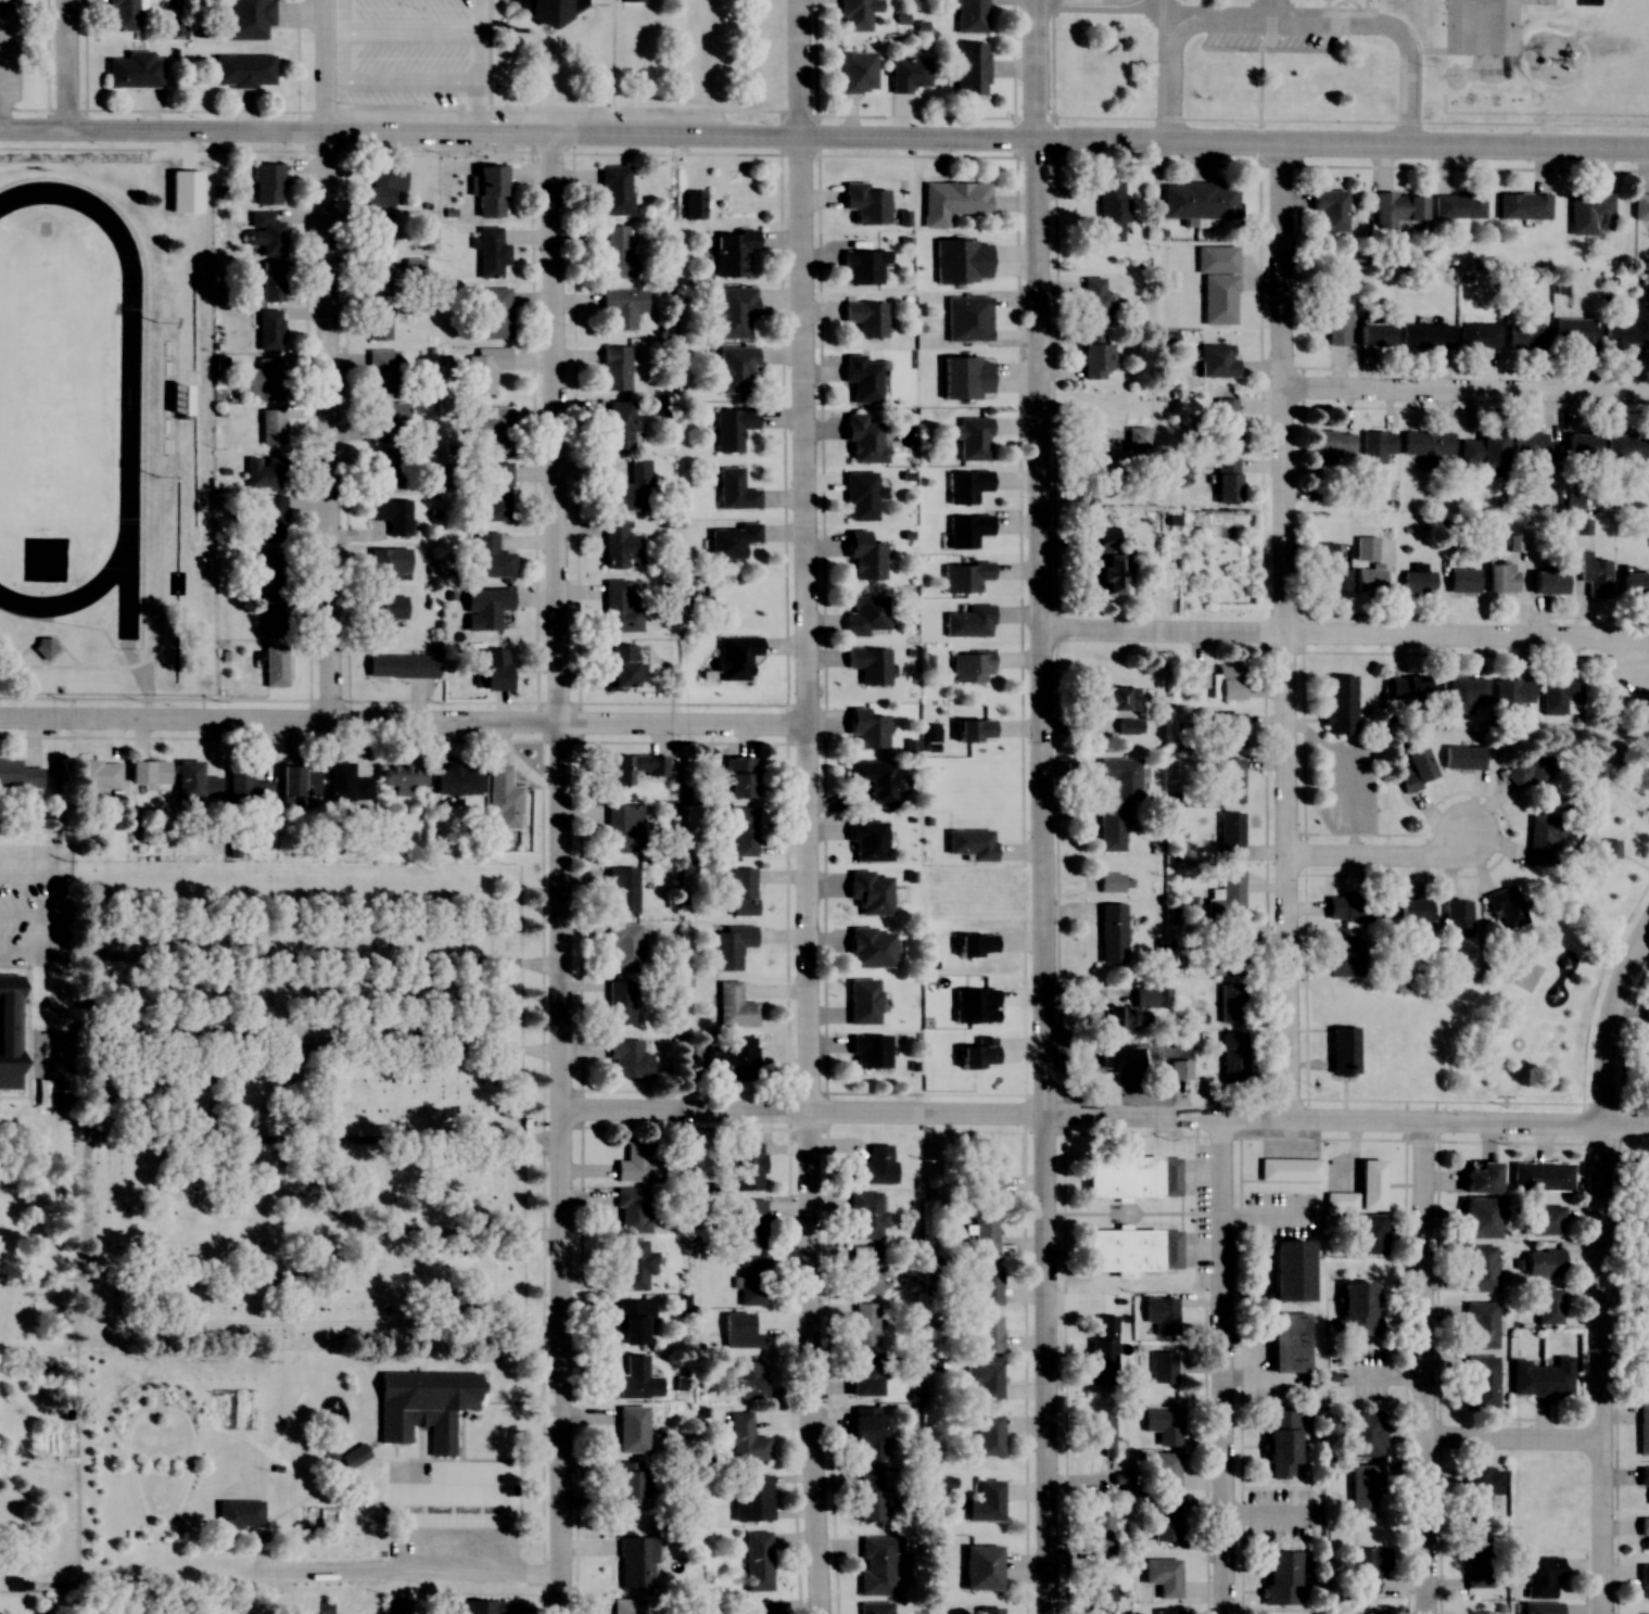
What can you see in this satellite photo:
building: (632, 0)
building: (548, 11)
building: (123, 15)
building: (853, 15)
building: (971, 16)
building: (249, 18)
road: (1343, 26)
road: (1169, 67)
building: (971, 68)
road: (68, 69)
building: (242, 69)
building: (134, 71)
building: (857, 72)
building: (909, 74)
road: (515, 138)
road: (1340, 147)
building: (266, 183)
building: (383, 183)
building: (490, 190)
building: (614, 190)
building: (1200, 200)
building: (952, 201)
building: (865, 203)
building: (693, 204)
building: (1458, 205)
building: (1524, 206)
building: (1640, 206)
building: (1397, 207)
building: (1330, 209)
building: (1109, 212)
building: (1590, 213)
building: (264, 233)
building: (378, 237)
building: (491, 252)
building: (732, 252)
building: (616, 253)
building: (962, 262)
building: (414, 266)
building: (863, 266)
building: (377, 280)
building: (271, 281)
building: (1217, 283)
building: (1091, 301)
building: (623, 306)
building: (734, 312)
building: (494, 313)
building: (866, 318)
building: (967, 318)
building: (1332, 322)
building: (377, 323)
building: (269, 329)
building: (1575, 331)
building: (1628, 331)
building: (1373, 334)
building: (1426, 335)
building: (1480, 335)
building: (1526, 336)
building: (1094, 357)
building: (1217, 360)
road: (329, 361)
building: (614, 368)
building: (485, 369)
building: (736, 369)
building: (381, 371)
building: (862, 378)
building: (264, 380)
road: (1467, 392)
park: (51, 397)
track: (129, 399)
building: (178, 399)
building: (384, 420)
building: (1226, 421)
building: (617, 425)
building: (270, 427)
building: (732, 428)
building: (492, 431)
building: (972, 437)
building: (863, 439)
building: (1332, 443)
building: (1377, 446)
building: (1426, 447)
building: (1581, 447)
building: (1121, 449)
building: (1532, 449)
building: (1484, 450)
building: (1626, 453)
building: (264, 471)
building: (382, 471)
building: (1226, 480)
building: (966, 485)
building: (629, 490)
building: (734, 490)
building: (496, 492)
building: (861, 496)
building: (392, 514)
building: (272, 519)
building: (967, 531)
building: (732, 539)
building: (618, 545)
building: (864, 556)
building: (490, 557)
building: (1107, 560)
building: (265, 565)
building: (386, 565)
building: (1329, 569)
building: (964, 576)
building: (1596, 576)
building: (1501, 577)
building: (1418, 580)
building: (1462, 580)
building: (1549, 580)
building: (1634, 584)
building: (485, 608)
building: (620, 608)
building: (272, 613)
building: (384, 614)
building: (865, 615)
building: (969, 622)
road: (1284, 634)
road: (1341, 635)
building: (43, 648)
building: (735, 657)
building: (868, 665)
building: (274, 666)
building: (402, 666)
building: (620, 666)
building: (971, 666)
building: (495, 669)
building: (1196, 675)
building: (1228, 683)
building: (1411, 688)
building: (1464, 694)
building: (1512, 694)
building: (1560, 697)
building: (1116, 699)
building: (1339, 704)
road: (403, 723)
building: (1128, 726)
building: (1226, 729)
building: (865, 730)
building: (1648, 745)
building: (1463, 757)
building: (632, 767)
building: (1529, 768)
building: (1417, 771)
building: (148, 773)
building: (97, 774)
building: (18, 775)
building: (1120, 776)
building: (403, 777)
building: (739, 777)
building: (457, 779)
building: (1229, 780)
building: (874, 781)
building: (194, 783)
building: (346, 784)
building: (246, 785)
building: (297, 786)
building: (503, 799)
road: (806, 806)
road: (1041, 806)
building: (624, 828)
building: (1109, 828)
building: (740, 829)
building: (1544, 837)
building: (868, 839)
building: (1228, 844)
building: (1610, 849)
road: (1380, 854)
road: (559, 876)
building: (1111, 882)
building: (623, 889)
building: (741, 891)
building: (870, 892)
building: (1231, 895)
building: (1354, 906)
building: (1505, 908)
building: (1412, 910)
building: (1457, 917)
building: (1111, 932)
building: (731, 946)
building: (624, 948)
building: (870, 949)
building: (1226, 953)
building: (1345, 958)
building: (862, 1002)
building: (619, 1003)
building: (1230, 1004)
building: (734, 1006)
building: (1136, 1008)
park: (1540, 1012)
building: (9, 1032)
road: (325, 1043)
building: (868, 1052)
building: (1342, 1052)
building: (1115, 1058)
building: (1232, 1058)
building: (629, 1059)
building: (733, 1059)
building: (1646, 1059)
building: (1179, 1069)
park: (309, 1104)
road: (801, 1111)
road: (1345, 1122)
road: (326, 1138)
road: (92, 1144)
building: (637, 1161)
building: (748, 1167)
building: (873, 1167)
building: (986, 1170)
building: (1289, 1170)
building: (1130, 1177)
building: (1542, 1177)
building: (1481, 1179)
building: (1644, 1179)
building: (1369, 1185)
building: (1340, 1202)
building: (632, 1210)
building: (865, 1216)
building: (1480, 1217)
building: (1542, 1220)
building: (749, 1223)
road: (394, 1231)
building: (984, 1234)
building: (1363, 1235)
building: (1645, 1246)
building: (1131, 1251)
building: (1544, 1262)
building: (633, 1263)
road: (1599, 1263)
building: (1481, 1268)
building: (864, 1269)
building: (1288, 1271)
building: (750, 1281)
building: (988, 1287)
building: (1549, 1307)
building: (1642, 1308)
building: (1358, 1309)
building: (1165, 1317)
building: (632, 1321)
building: (864, 1325)
building: (1482, 1325)
building: (740, 1333)
building: (988, 1335)
building: (1289, 1343)
building: (1102, 1345)
building: (1644, 1360)
building: (1163, 1367)
road: (1220, 1368)
road: (1421, 1369)
building: (864, 1377)
building: (1542, 1378)
building: (637, 1380)
building: (749, 1381)
building: (982, 1382)
building: (1483, 1382)
building: (424, 1406)
building: (1163, 1425)
building: (631, 1428)
building: (1642, 1428)
building: (866, 1433)
building: (1102, 1435)
building: (1362, 1435)
building: (987, 1436)
building: (744, 1439)
road: (1510, 1441)
building: (1281, 1444)
building: (354, 1457)
building: (1160, 1472)
building: (1644, 1476)
building: (630, 1484)
building: (1479, 1489)
building: (1362, 1492)
building: (751, 1497)
building: (868, 1497)
building: (984, 1501)
building: (239, 1514)
building: (1165, 1518)
building: (1100, 1532)
building: (1645, 1533)
building: (758, 1561)
building: (636, 1562)
building: (1477, 1563)
building: (877, 1565)
building: (980, 1567)
building: (1366, 1568)
road: (409, 1573)
building: (1542, 1575)
building: (1163, 1576)
building: (1283, 1577)
building: (1644, 1580)
building: (1100, 1598)
building: (626, 1605)
building: (478, 1606)
building: (763, 1607)
building: (876, 1607)
building: (1542, 1607)
building: (988, 1610)
building: (1168, 1611)
building: (288, 1612)
building: (364, 1612)
building: (1479, 1612)
building: (1378, 1613)

